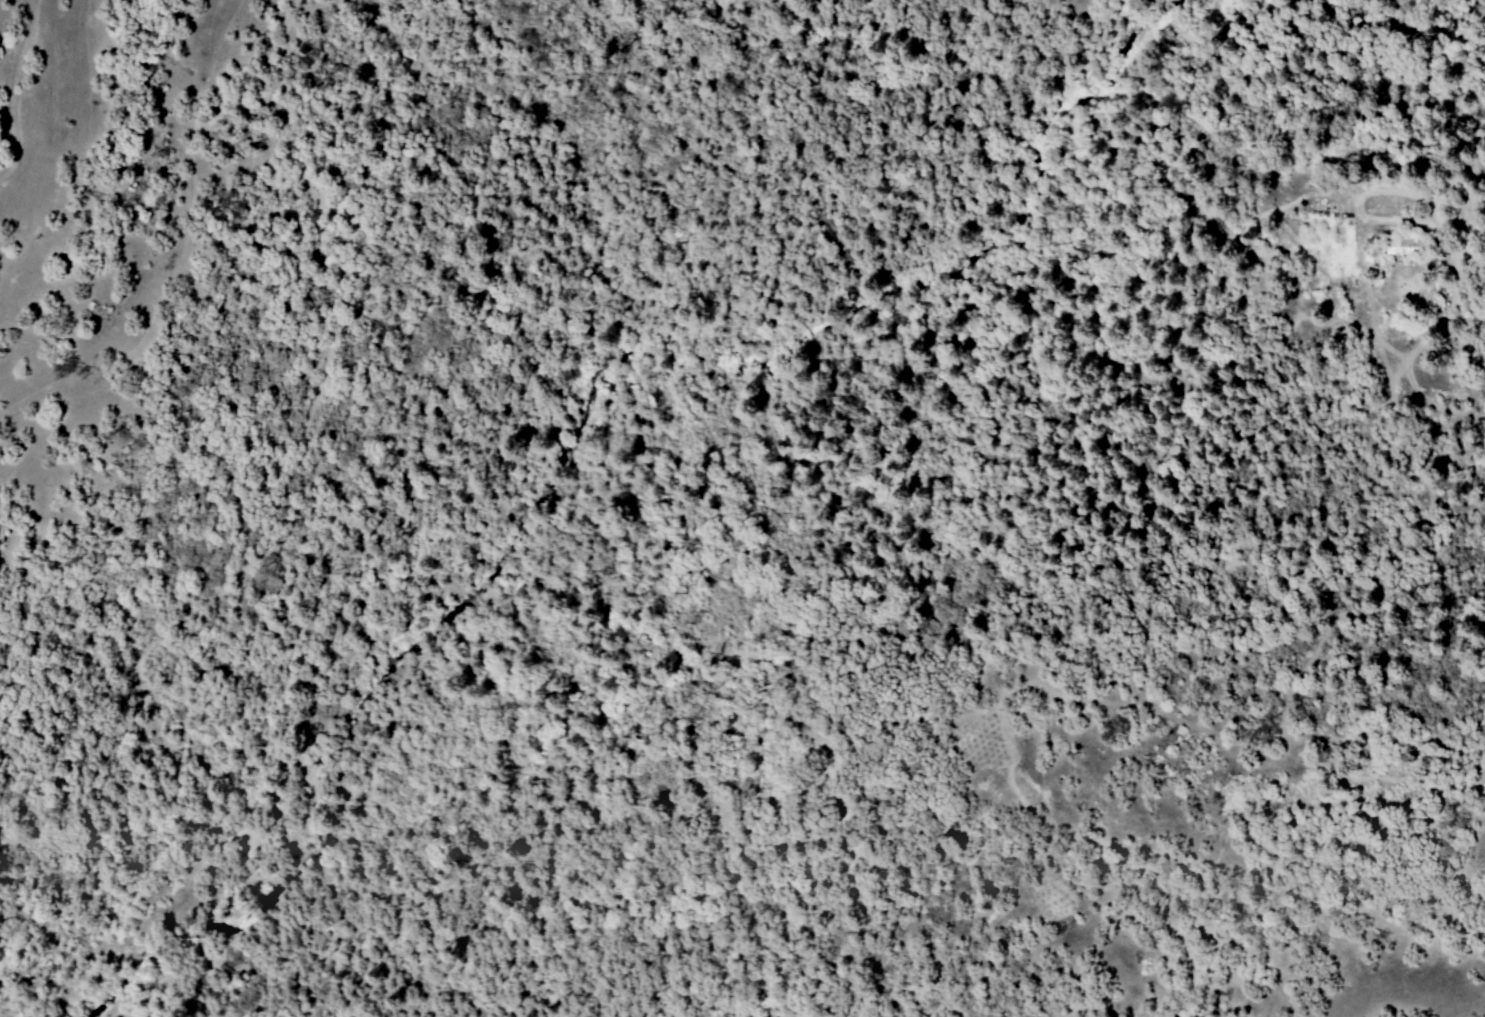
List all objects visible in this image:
road: (1483, 252)

